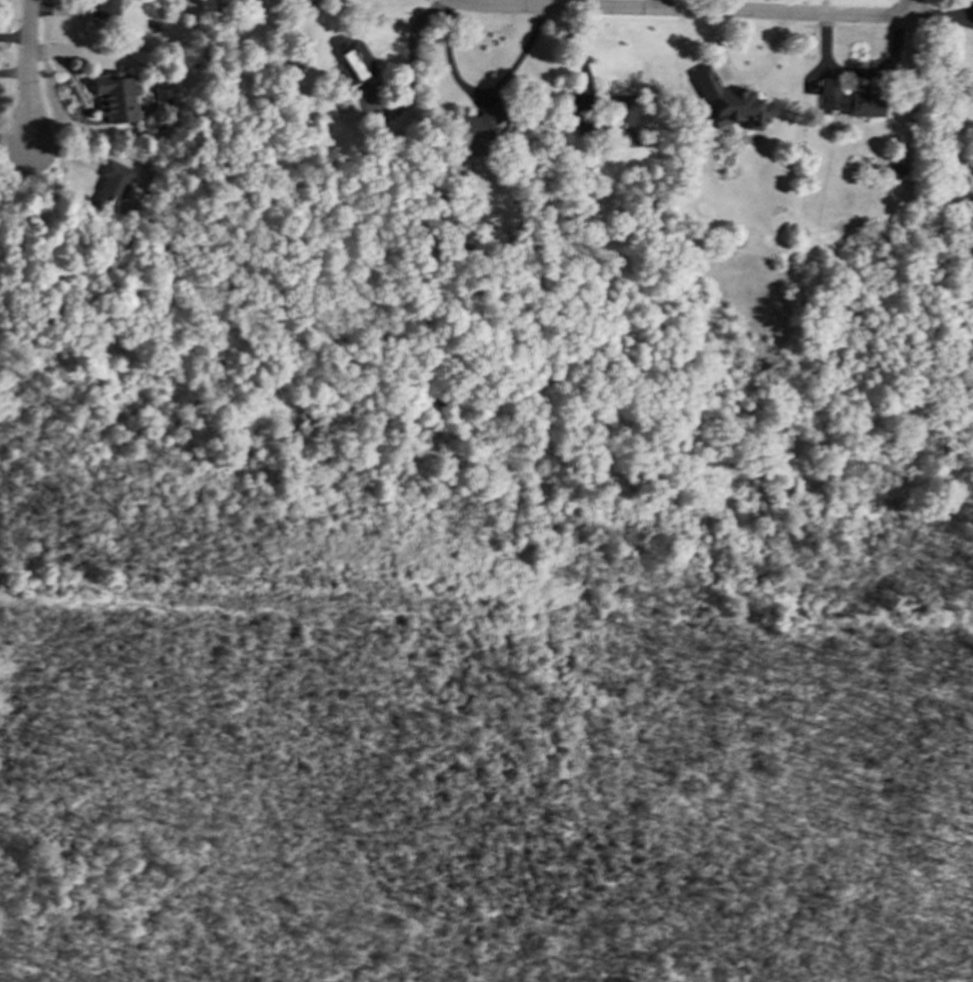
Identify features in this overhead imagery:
road: (909, 3)
building: (106, 8)
road: (685, 11)
road: (941, 15)
road: (14, 39)
building: (355, 61)
road: (858, 71)
road: (28, 72)
road: (14, 75)
road: (741, 78)
road: (479, 93)
building: (116, 96)
building: (850, 100)
building: (729, 102)
building: (623, 117)
road: (14, 143)
building: (112, 183)

